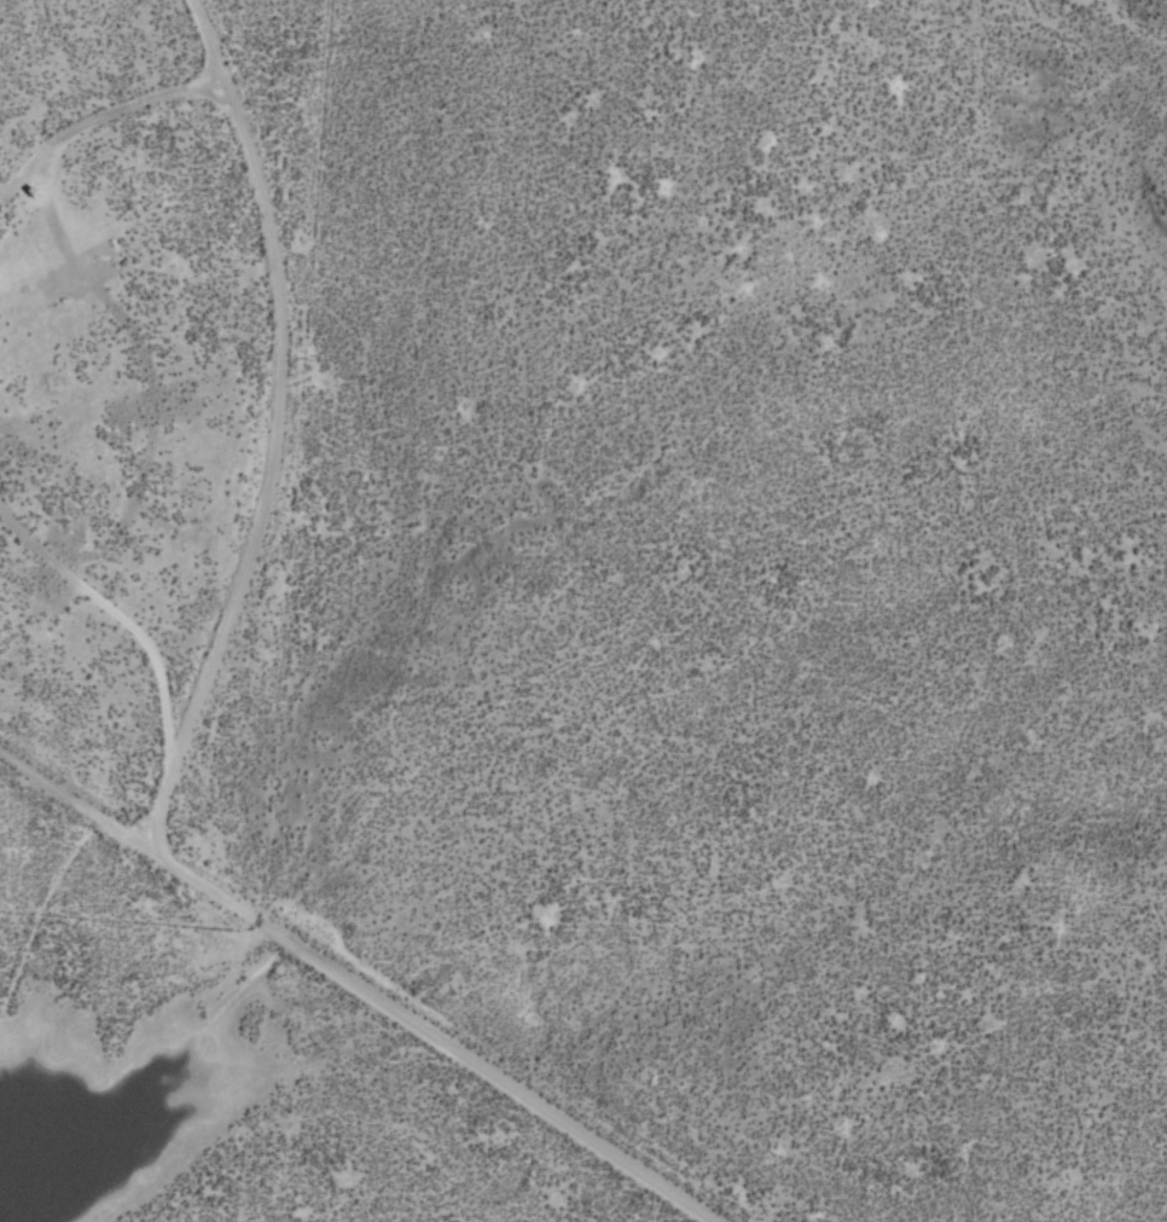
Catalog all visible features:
road: (194, 73)
road: (134, 97)
road: (141, 360)
road: (266, 436)
road: (145, 650)
road: (124, 838)
road: (480, 1072)

